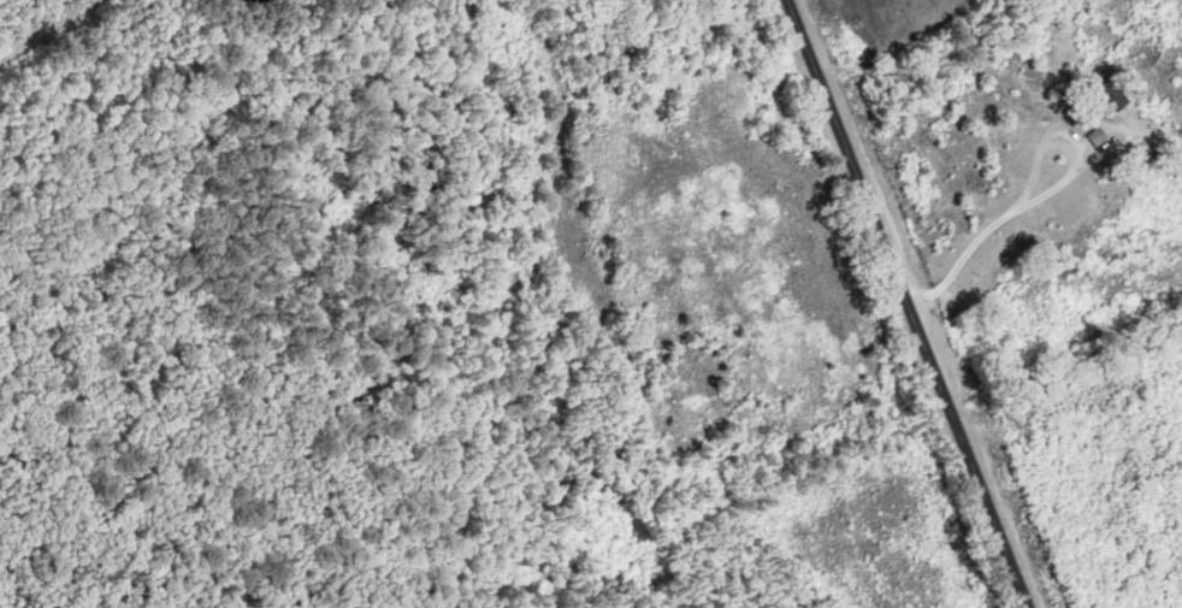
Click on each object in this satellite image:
building: (1115, 92)
road: (1045, 195)
road: (908, 303)

